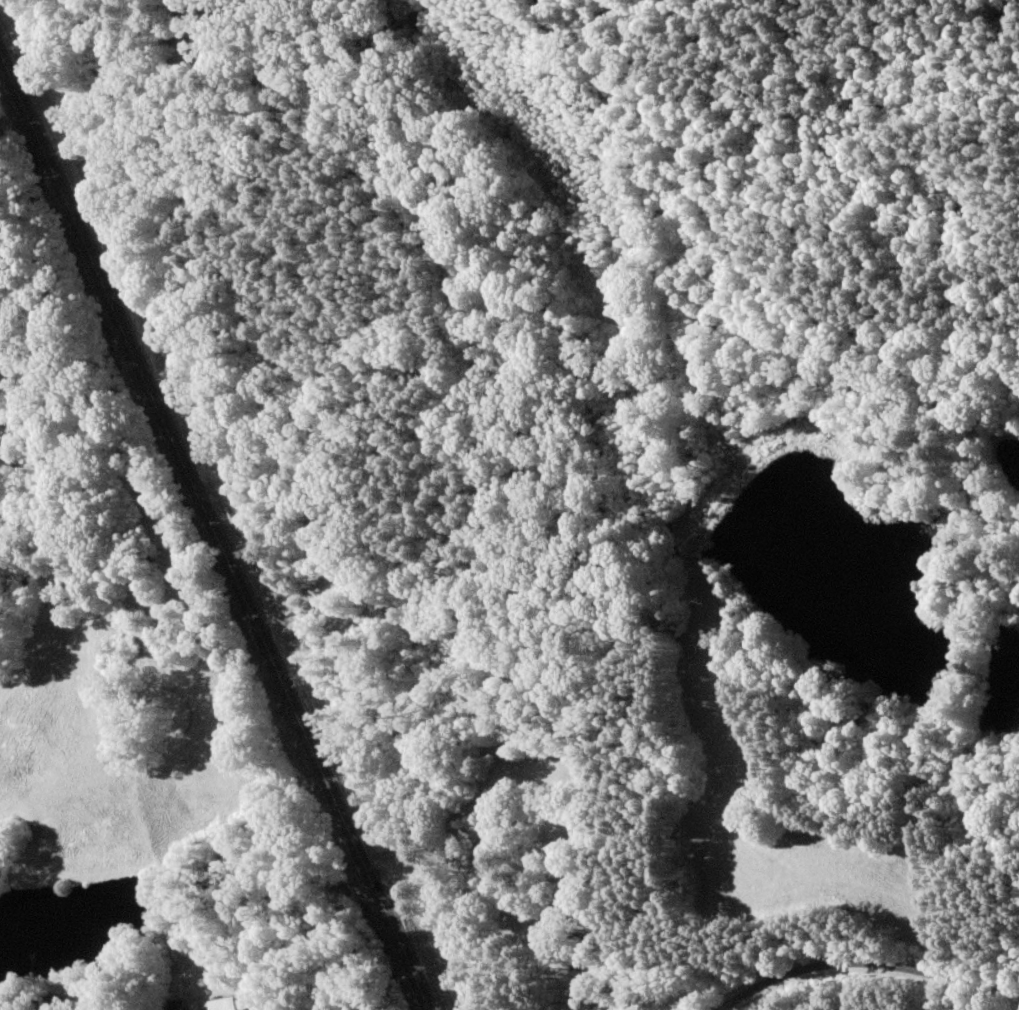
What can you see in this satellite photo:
road: (199, 576)
building: (557, 835)
road: (807, 951)
building: (574, 959)
building: (46, 1002)
building: (222, 1005)
building: (175, 1006)

